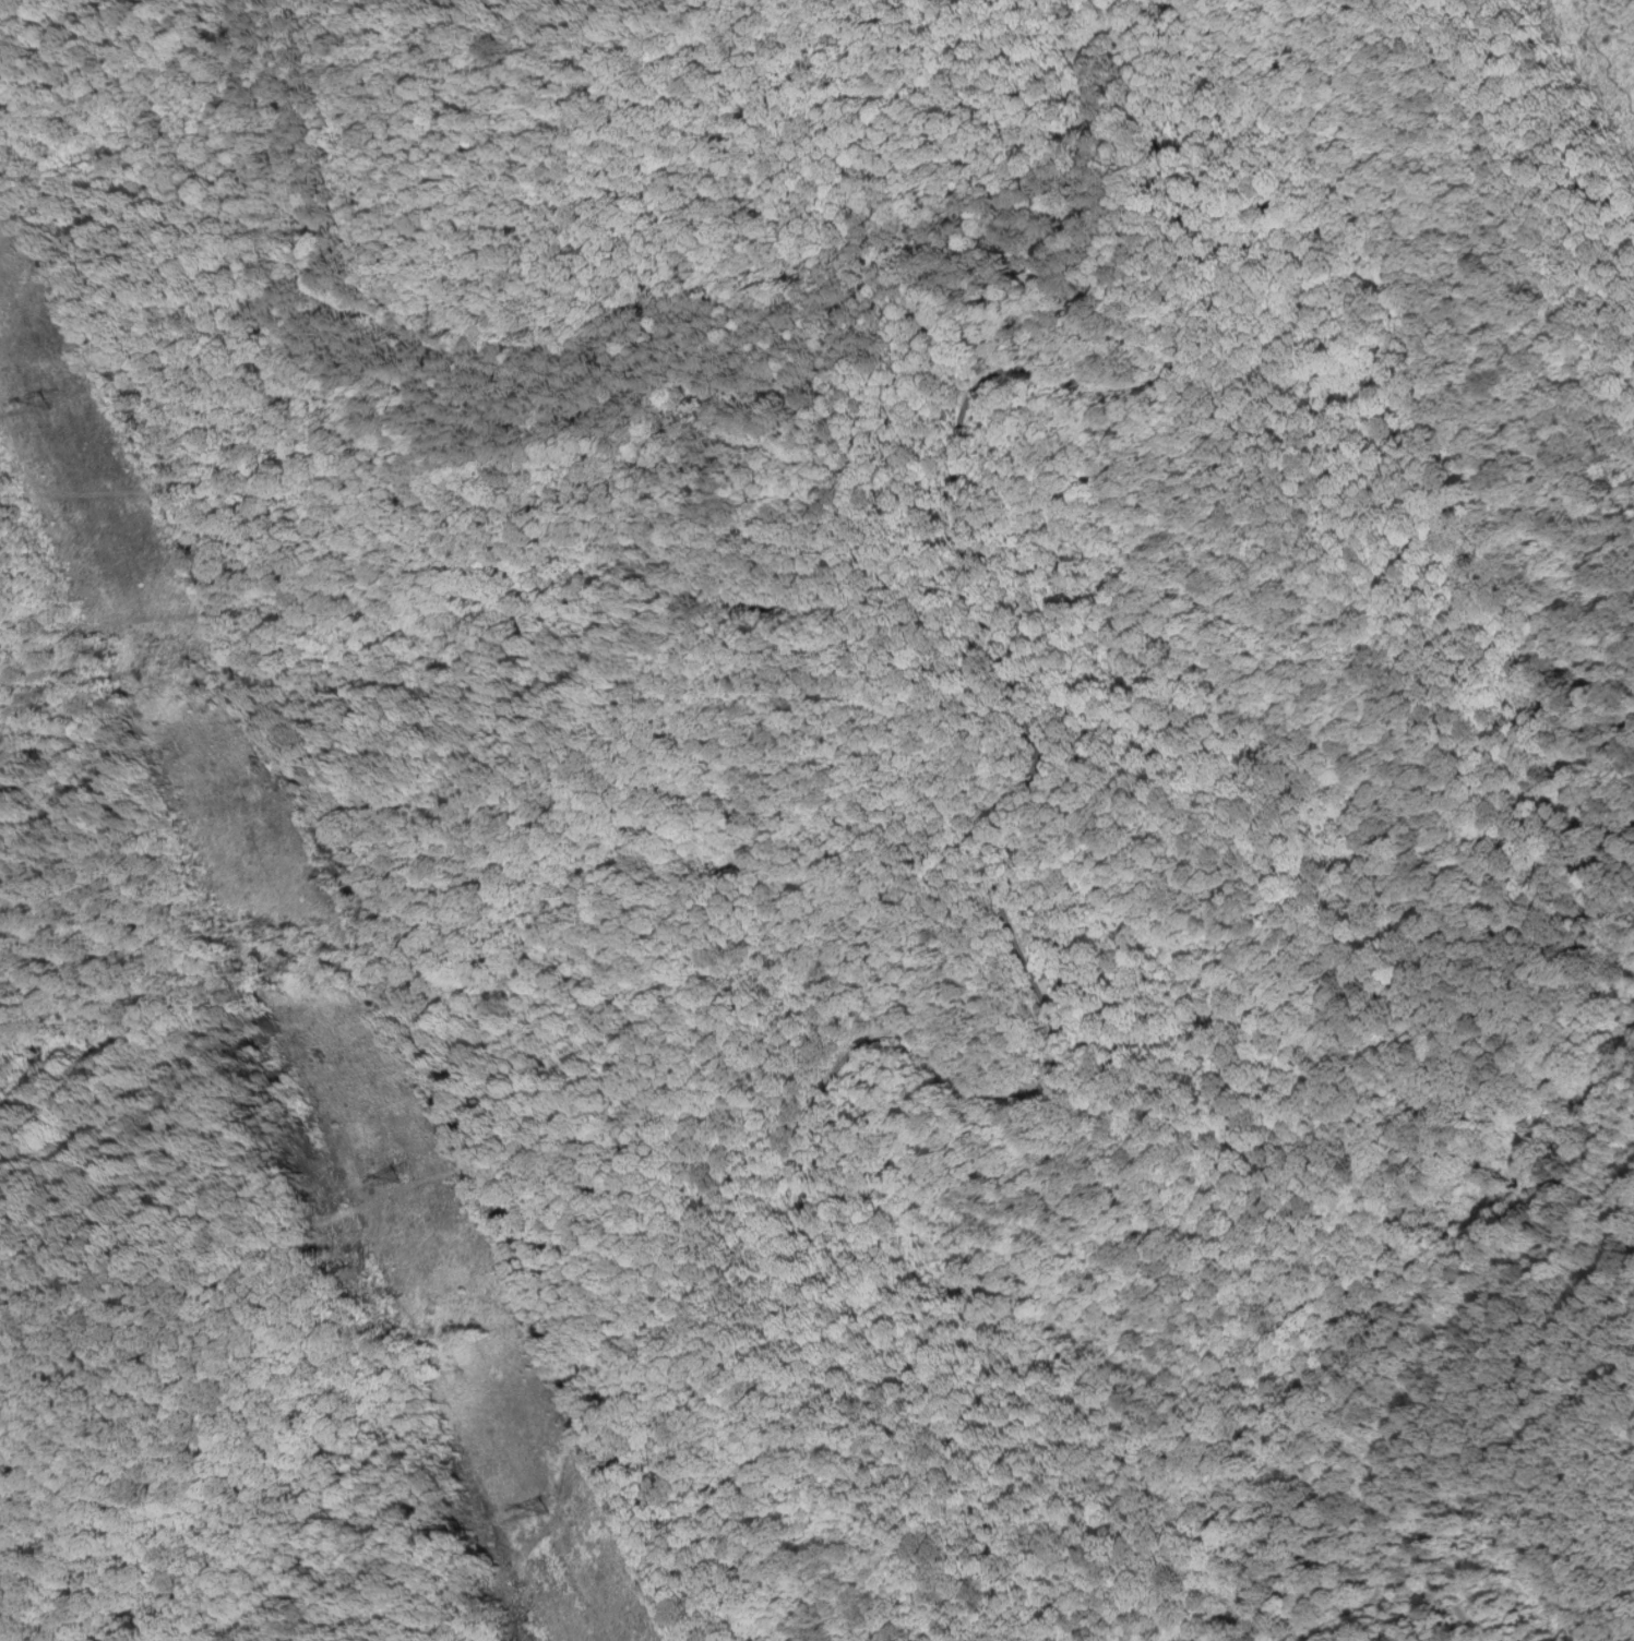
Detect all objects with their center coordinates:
power tower: (57, 415)
power tower: (408, 1184)
power tower: (545, 1514)

